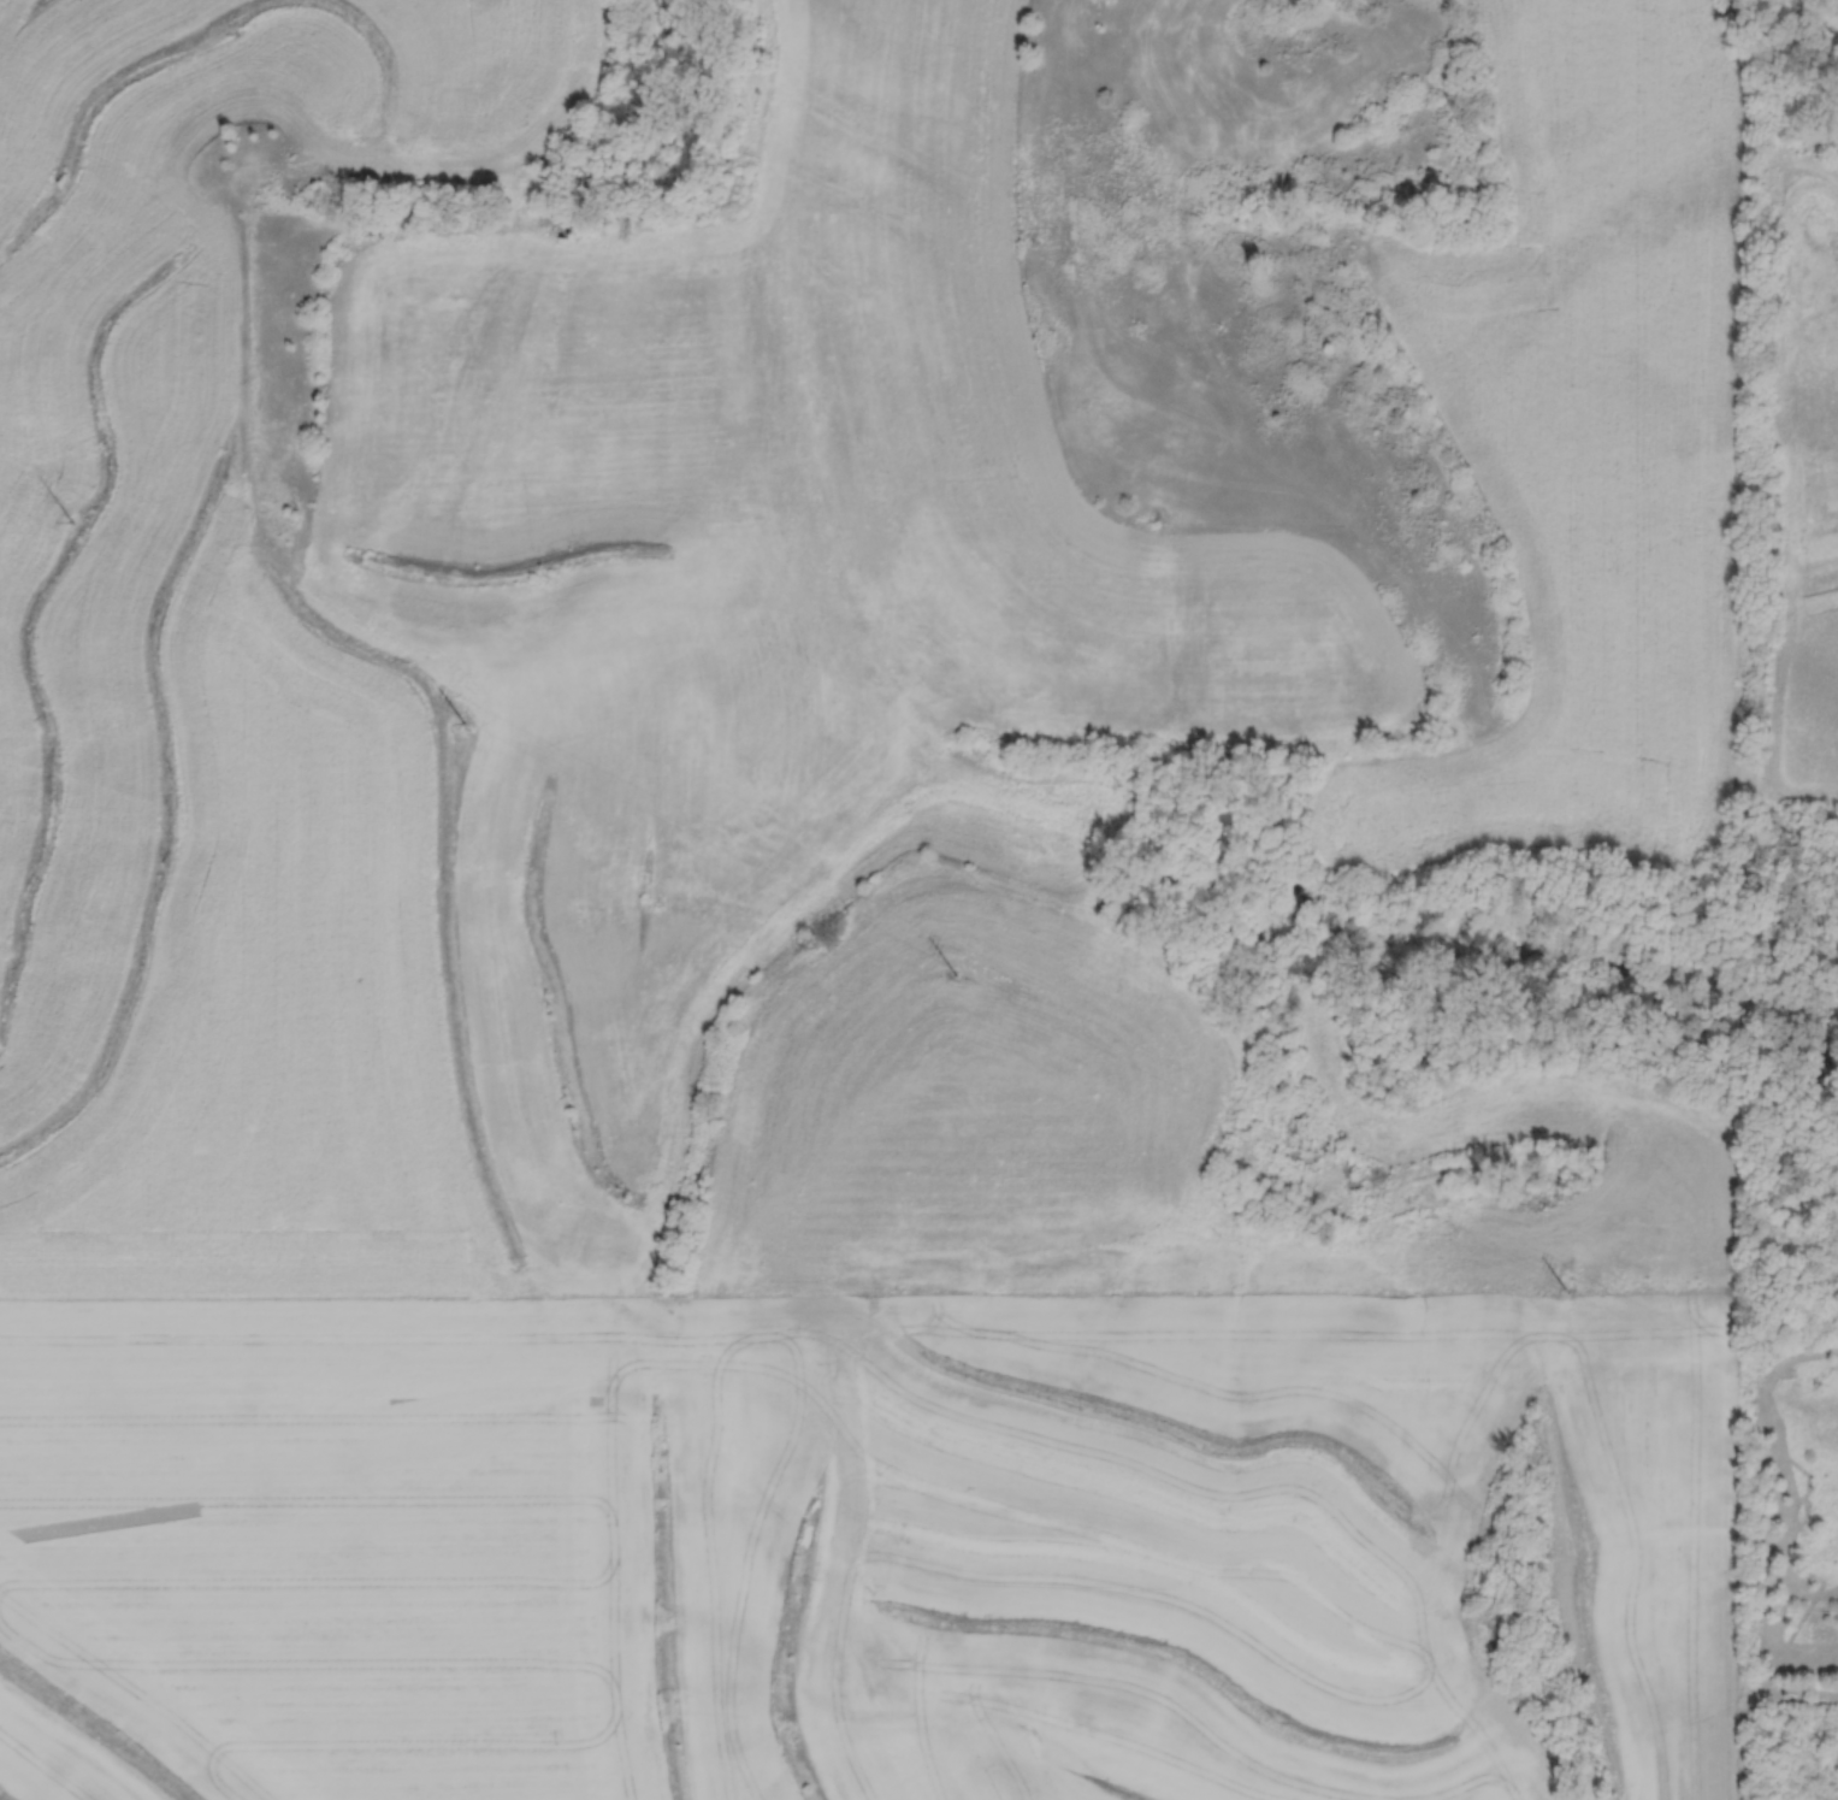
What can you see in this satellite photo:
power tower: (76, 523)
power tower: (468, 725)
power tower: (958, 976)
power tower: (1568, 1289)

